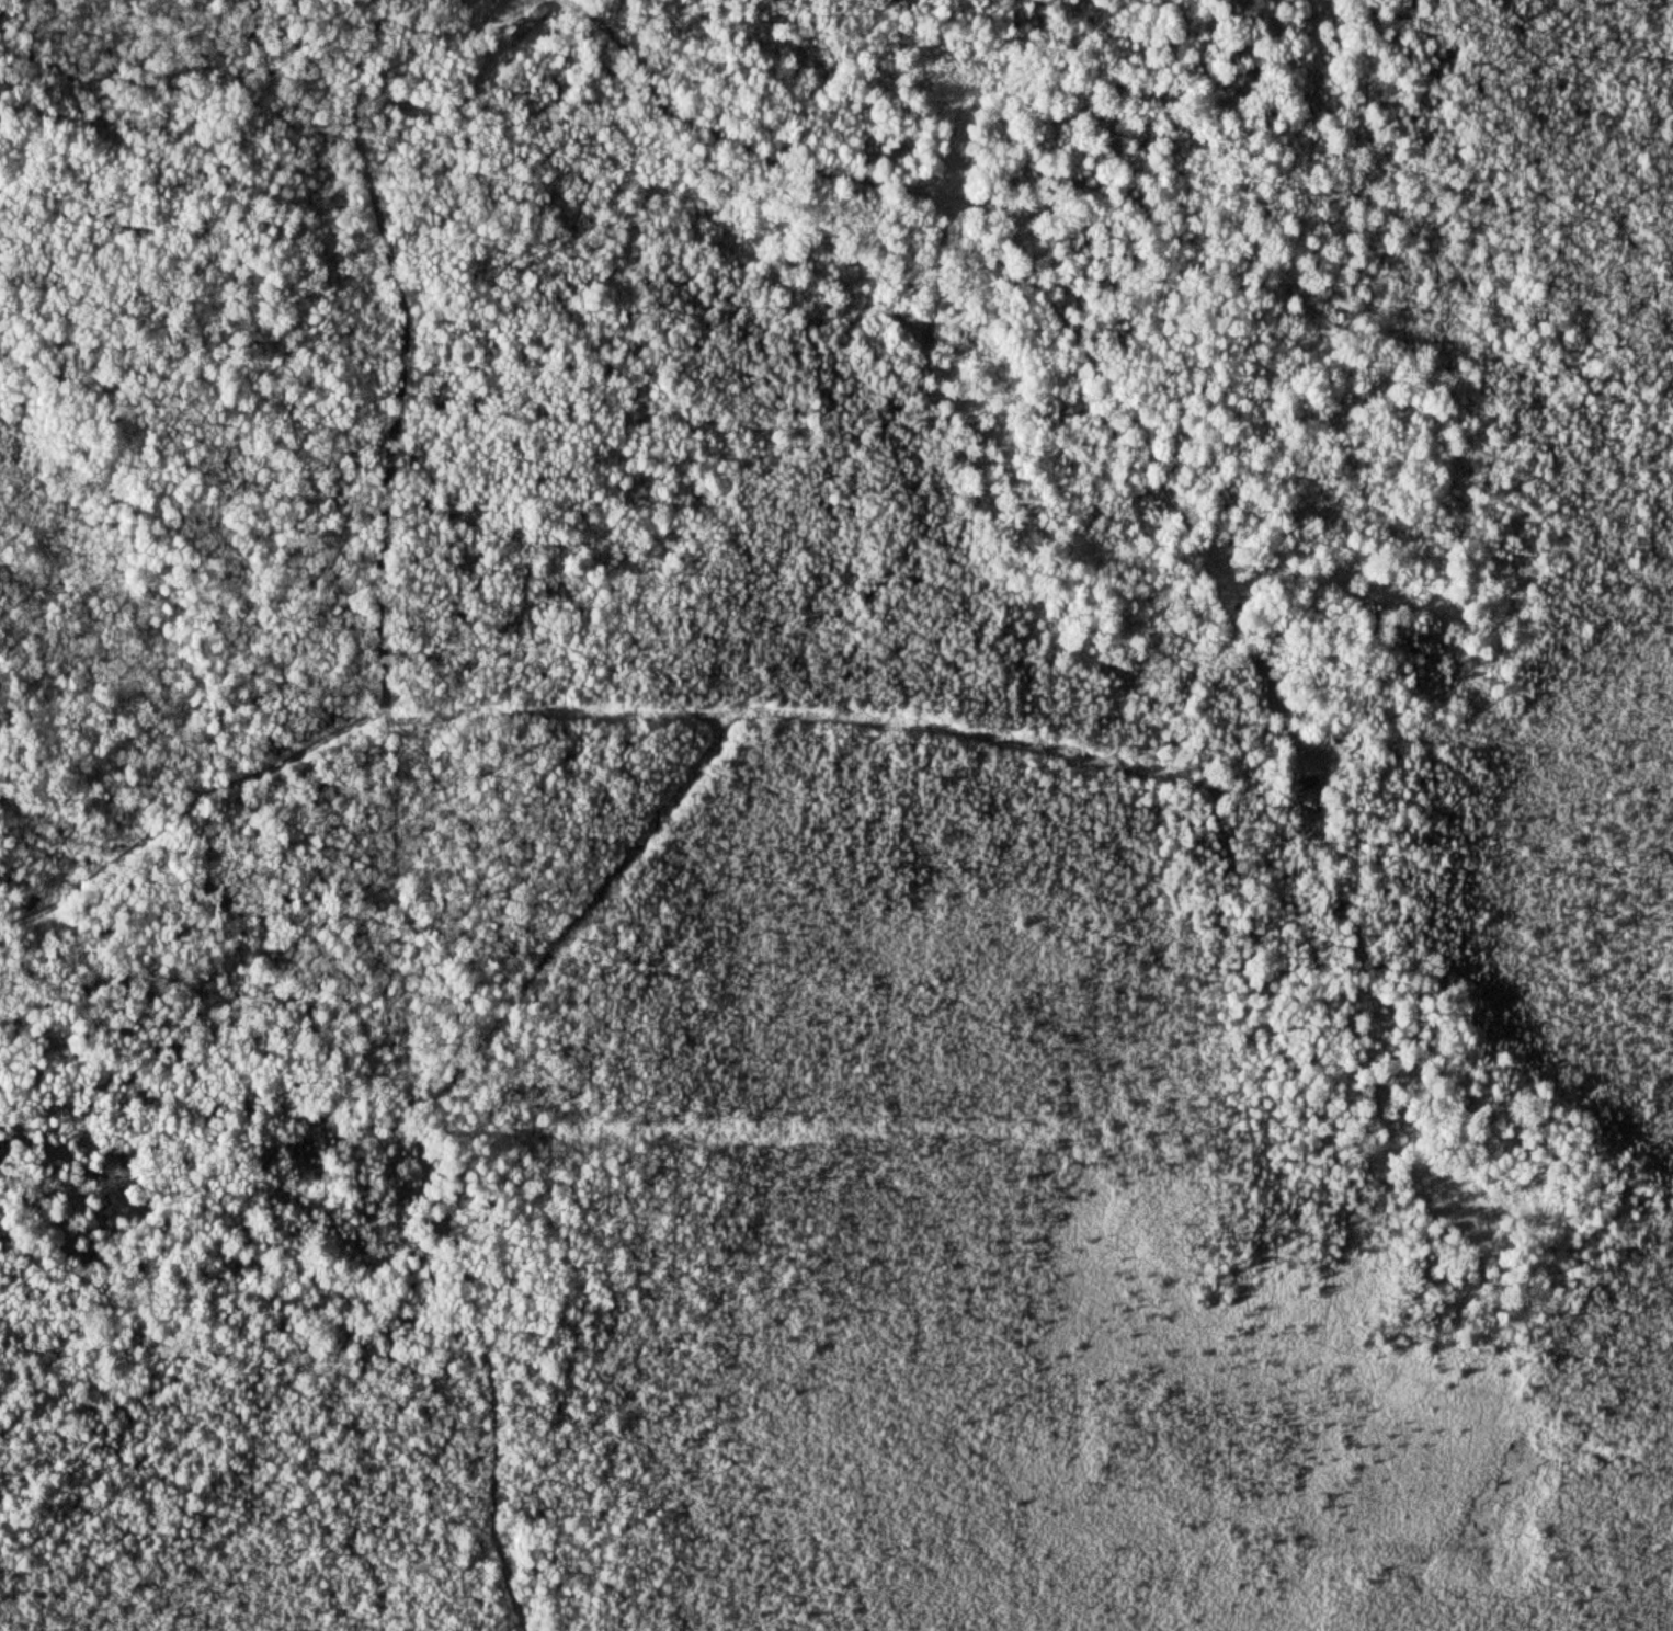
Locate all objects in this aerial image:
building: (1304, 791)

